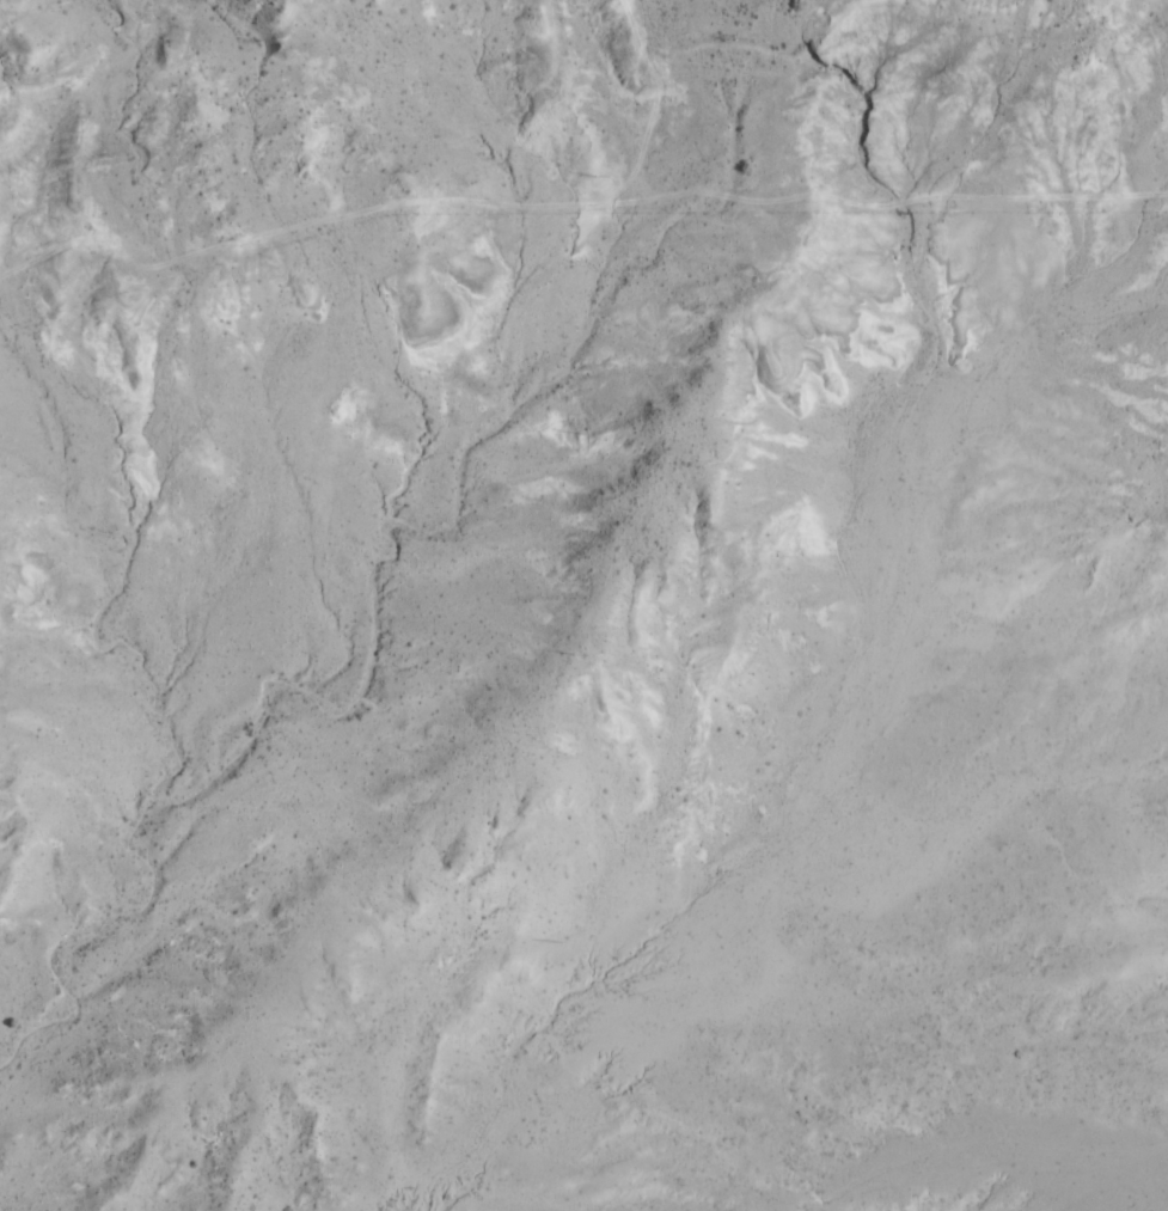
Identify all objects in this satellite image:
road: (580, 1004)

